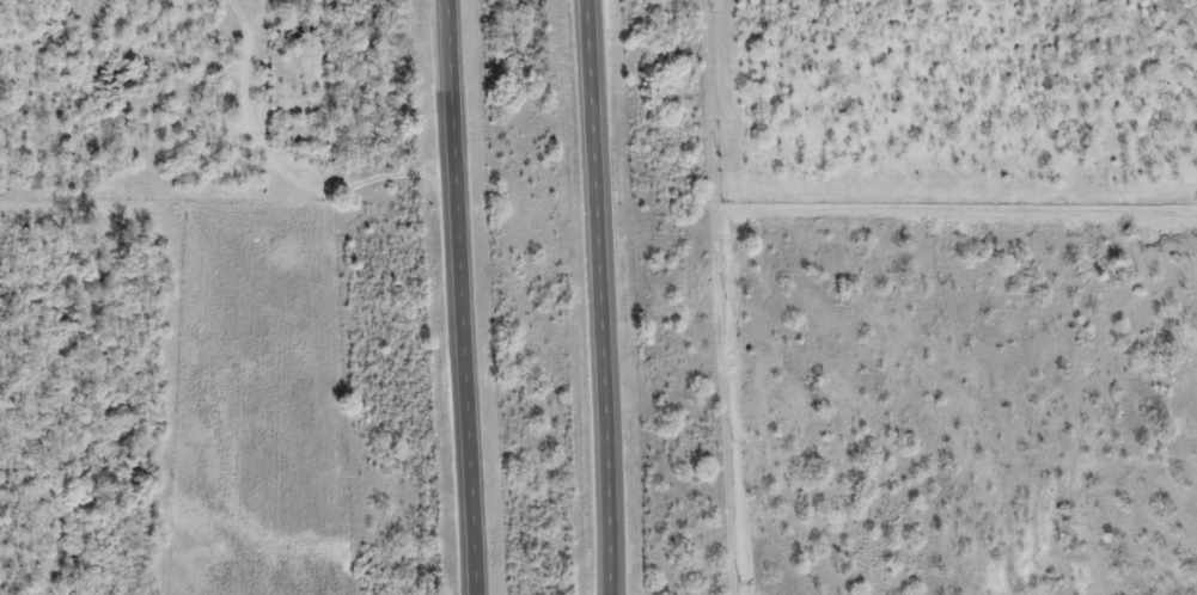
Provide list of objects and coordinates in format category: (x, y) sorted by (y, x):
road: (464, 297)
road: (600, 297)

